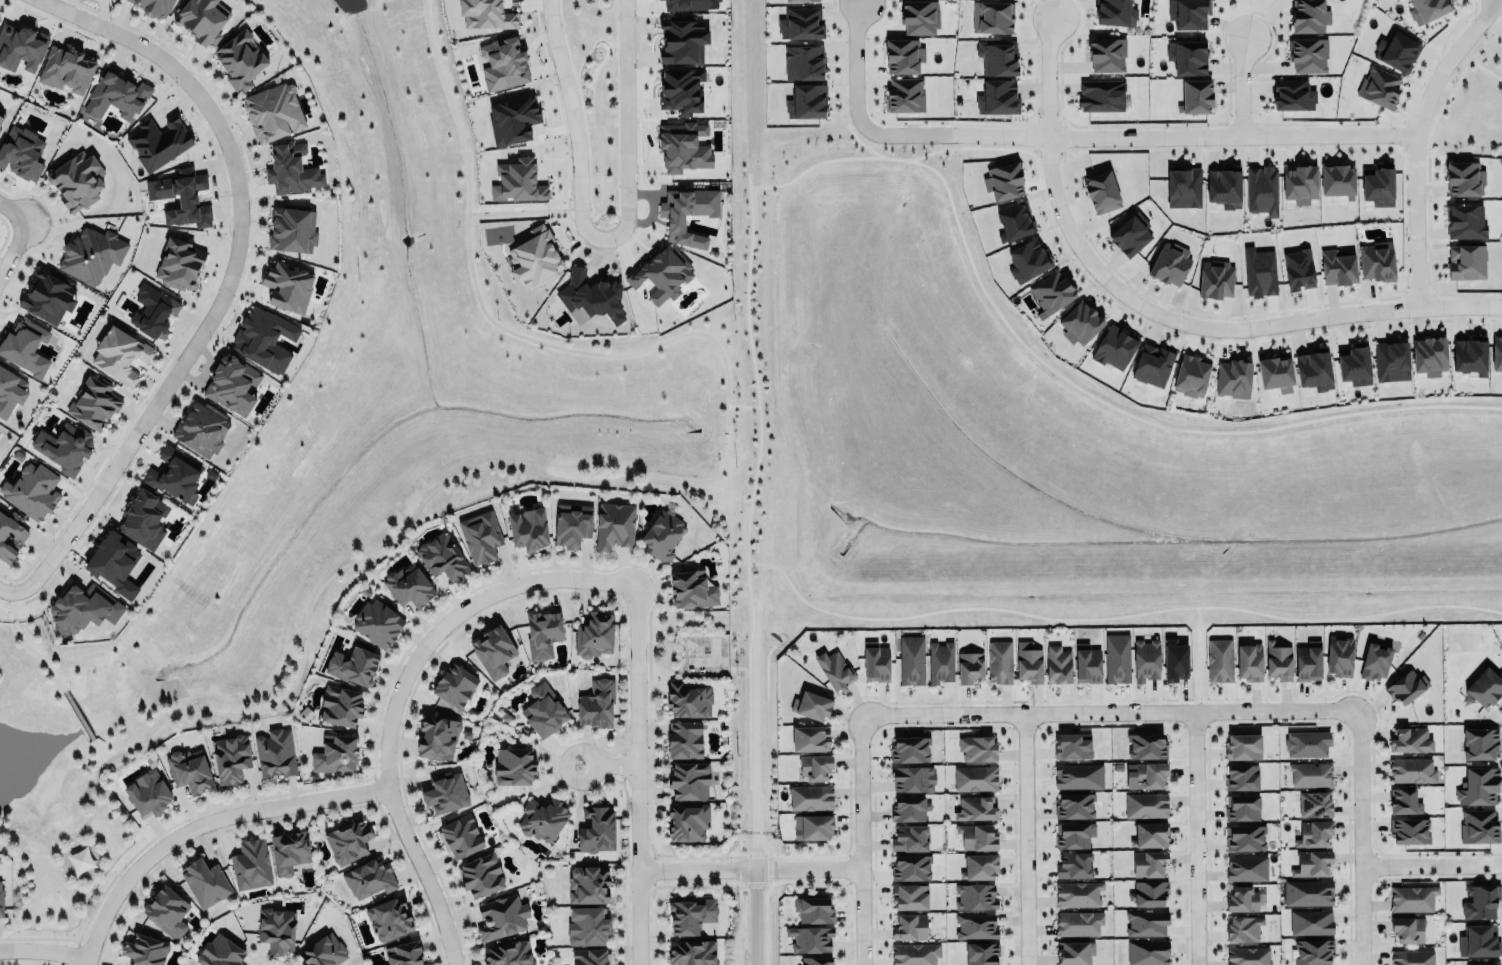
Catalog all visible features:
building: (797, 0)
building: (690, 4)
building: (155, 7)
building: (1428, 9)
building: (1116, 12)
building: (1188, 13)
building: (485, 14)
building: (1310, 15)
building: (920, 17)
building: (996, 17)
building: (201, 19)
building: (802, 23)
building: (682, 41)
building: (19, 45)
building: (1400, 52)
building: (1108, 54)
building: (904, 55)
building: (1308, 55)
building: (998, 57)
building: (1188, 57)
building: (240, 60)
building: (804, 63)
building: (503, 64)
road: (858, 66)
building: (67, 68)
road: (1053, 75)
road: (1245, 82)
building: (1380, 87)
building: (681, 90)
building: (906, 94)
building: (1293, 94)
building: (1102, 95)
building: (117, 96)
building: (1196, 96)
building: (998, 98)
building: (808, 101)
building: (274, 111)
building: (1, 117)
building: (512, 120)
road: (572, 122)
road: (624, 122)
road: (1139, 134)
road: (1415, 136)
building: (158, 142)
building: (683, 146)
building: (21, 153)
building: (291, 170)
building: (1464, 178)
building: (77, 180)
building: (1338, 180)
building: (517, 181)
building: (1003, 181)
building: (1299, 183)
building: (1379, 185)
building: (1225, 186)
building: (1184, 188)
building: (1263, 189)
building: (1102, 191)
building: (182, 197)
road: (11, 203)
road: (520, 209)
building: (687, 213)
building: (1014, 220)
building: (1465, 221)
building: (293, 229)
building: (1130, 235)
road: (11, 237)
building: (91, 252)
building: (535, 257)
building: (1029, 260)
building: (1378, 261)
building: (1467, 261)
building: (179, 263)
building: (1170, 263)
building: (1338, 266)
building: (1298, 268)
building: (1260, 272)
building: (662, 274)
road: (224, 275)
building: (1216, 279)
building: (288, 286)
building: (1053, 291)
building: (49, 296)
building: (590, 297)
building: (149, 310)
road: (1224, 318)
building: (1081, 323)
building: (265, 339)
building: (24, 347)
building: (1114, 348)
building: (1497, 353)
building: (121, 354)
building: (1430, 355)
building: (1469, 356)
building: (1391, 361)
building: (1154, 364)
building: (1355, 365)
building: (1314, 369)
building: (1193, 373)
building: (1277, 373)
building: (1234, 378)
building: (233, 384)
building: (10, 392)
building: (95, 403)
building: (201, 429)
building: (64, 447)
building: (175, 474)
road: (611, 478)
building: (32, 491)
building: (144, 519)
building: (573, 525)
building: (615, 525)
building: (528, 530)
building: (10, 535)
building: (662, 536)
building: (481, 537)
building: (442, 558)
building: (114, 561)
road: (4, 581)
building: (411, 588)
building: (693, 590)
road: (12, 601)
building: (84, 608)
building: (377, 623)
building: (542, 633)
building: (595, 635)
building: (493, 651)
building: (1340, 656)
building: (1118, 658)
building: (1146, 659)
building: (912, 660)
building: (1176, 660)
building: (1219, 660)
building: (941, 661)
building: (1278, 661)
building: (875, 662)
building: (1000, 662)
building: (1029, 662)
building: (1250, 662)
building: (1308, 662)
building: (1375, 662)
building: (1087, 664)
building: (1057, 665)
building: (353, 666)
building: (970, 667)
building: (835, 671)
building: (455, 685)
building: (1406, 686)
building: (1485, 687)
road: (62, 688)
road: (394, 688)
building: (689, 699)
building: (597, 703)
building: (814, 705)
building: (341, 706)
road: (1108, 710)
building: (544, 711)
building: (438, 737)
building: (810, 738)
building: (685, 740)
building: (1411, 740)
building: (1308, 743)
building: (1479, 744)
building: (1073, 746)
building: (1146, 746)
building: (1244, 747)
building: (910, 749)
building: (978, 749)
building: (274, 753)
building: (336, 754)
building: (230, 758)
road: (753, 758)
road: (606, 759)
building: (515, 767)
building: (815, 767)
building: (1411, 770)
building: (190, 771)
building: (1144, 773)
road: (635, 774)
building: (1311, 774)
building: (1078, 776)
building: (1242, 777)
building: (976, 778)
building: (913, 779)
building: (690, 781)
building: (1478, 787)
building: (148, 793)
building: (446, 793)
building: (811, 797)
building: (1403, 801)
building: (1315, 804)
building: (1146, 805)
building: (1074, 806)
building: (1243, 807)
building: (909, 808)
building: (976, 808)
building: (543, 818)
road: (198, 820)
building: (689, 821)
building: (1477, 826)
building: (816, 827)
building: (1410, 828)
building: (597, 830)
building: (1150, 834)
building: (1314, 834)
building: (1074, 835)
building: (462, 836)
road: (1355, 836)
road: (1199, 837)
building: (1245, 837)
road: (862, 838)
building: (910, 838)
building: (977, 838)
road: (1024, 838)
building: (348, 840)
building: (289, 851)
building: (80, 860)
road: (1429, 862)
building: (1149, 863)
building: (1313, 863)
building: (251, 864)
building: (1074, 865)
road: (750, 867)
building: (910, 867)
building: (980, 867)
building: (1247, 868)
building: (481, 875)
building: (369, 878)
road: (64, 880)
building: (206, 883)
building: (588, 885)
building: (1308, 892)
building: (1079, 893)
building: (1150, 893)
building: (976, 896)
building: (910, 897)
building: (1410, 897)
building: (1242, 899)
building: (1, 900)
building: (1481, 901)
building: (814, 910)
building: (166, 911)
building: (690, 915)
road: (753, 916)
building: (502, 917)
building: (390, 919)
building: (1312, 921)
building: (1080, 923)
building: (1146, 923)
building: (976, 925)
building: (587, 926)
building: (910, 927)
building: (1243, 928)
building: (277, 929)
building: (1408, 929)
building: (810, 939)
building: (1480, 942)
road: (42, 948)
building: (146, 951)
building: (1312, 951)
building: (324, 952)
building: (693, 952)
building: (1076, 952)
building: (1148, 952)
building: (220, 953)
building: (508, 953)
building: (981, 953)
building: (404, 954)
building: (914, 954)
building: (1248, 956)
building: (592, 957)
building: (1412, 957)
building: (816, 961)
building: (1489, 964)

